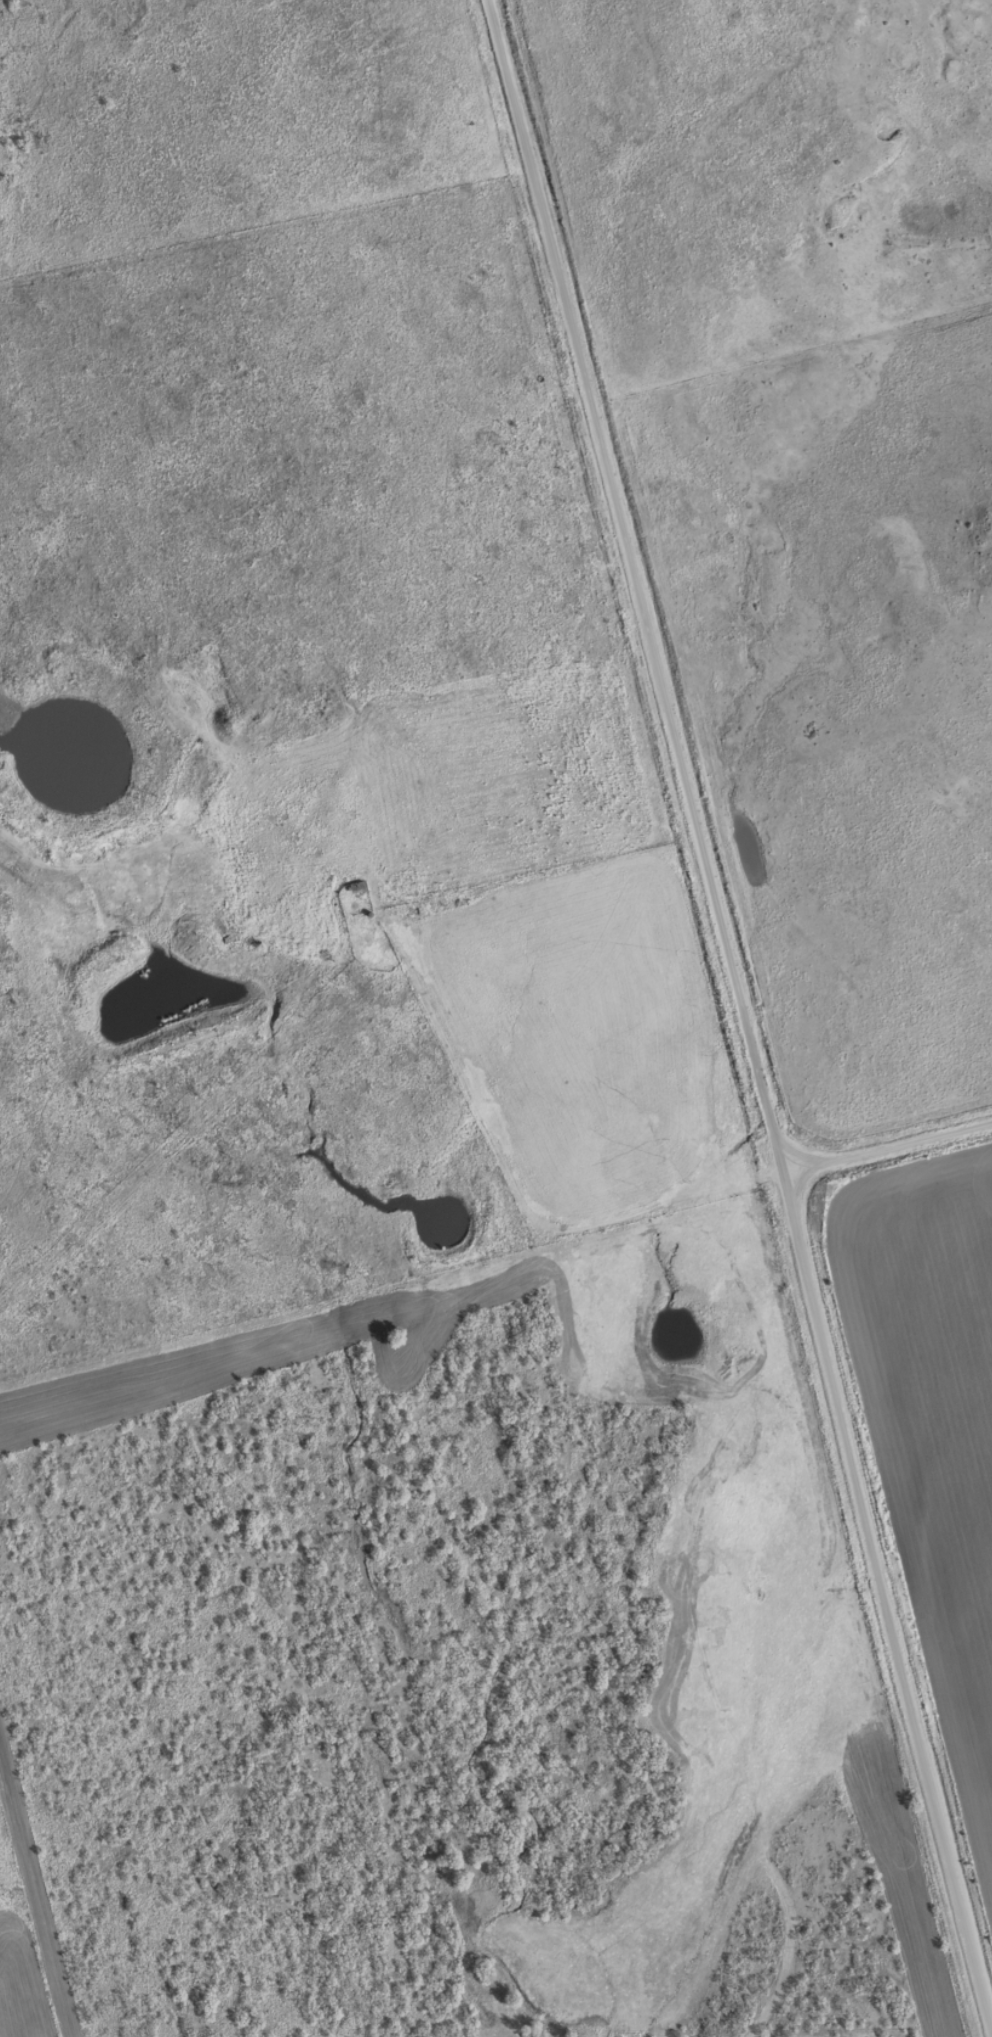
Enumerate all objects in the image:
road: (23, 41)
road: (740, 1017)
road: (883, 1130)

